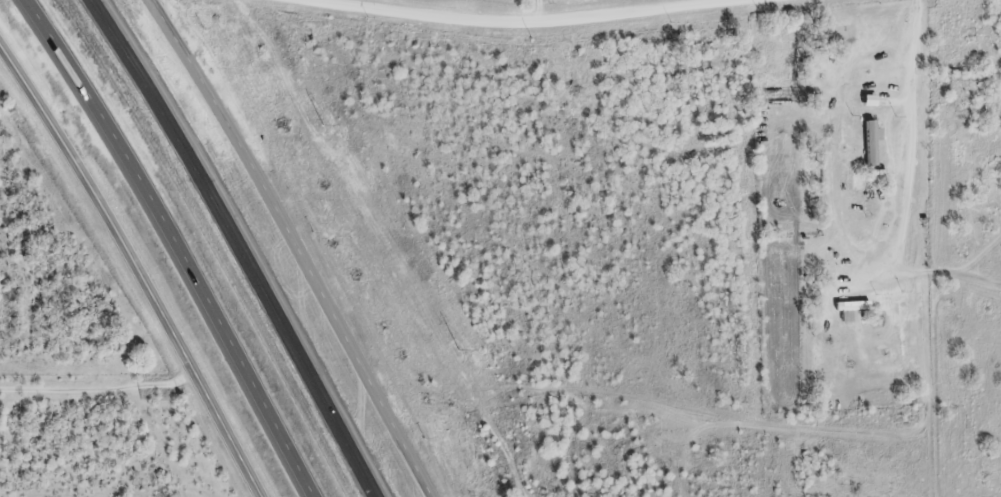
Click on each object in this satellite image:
road: (537, 12)
road: (517, 23)
power tower: (320, 124)
building: (869, 145)
road: (905, 213)
road: (179, 241)
road: (241, 245)
road: (296, 246)
road: (137, 267)
building: (848, 311)
power tower: (455, 350)

